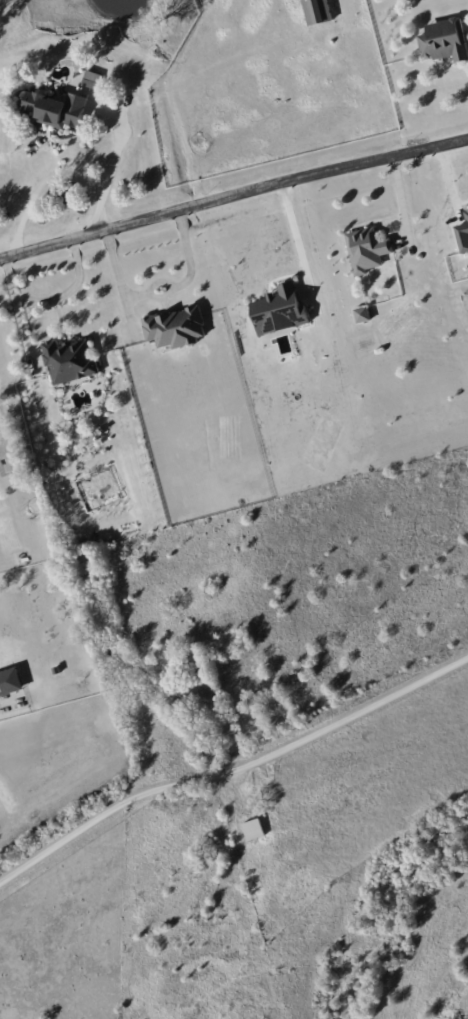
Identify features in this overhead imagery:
building: (319, 11)
building: (445, 39)
building: (93, 77)
building: (59, 108)
road: (109, 168)
road: (38, 185)
road: (233, 195)
building: (467, 213)
building: (464, 235)
road: (297, 242)
building: (367, 249)
road: (68, 289)
road: (19, 308)
building: (282, 309)
building: (363, 313)
building: (177, 326)
building: (71, 360)
building: (11, 681)
road: (6, 707)
road: (234, 776)
building: (254, 828)

